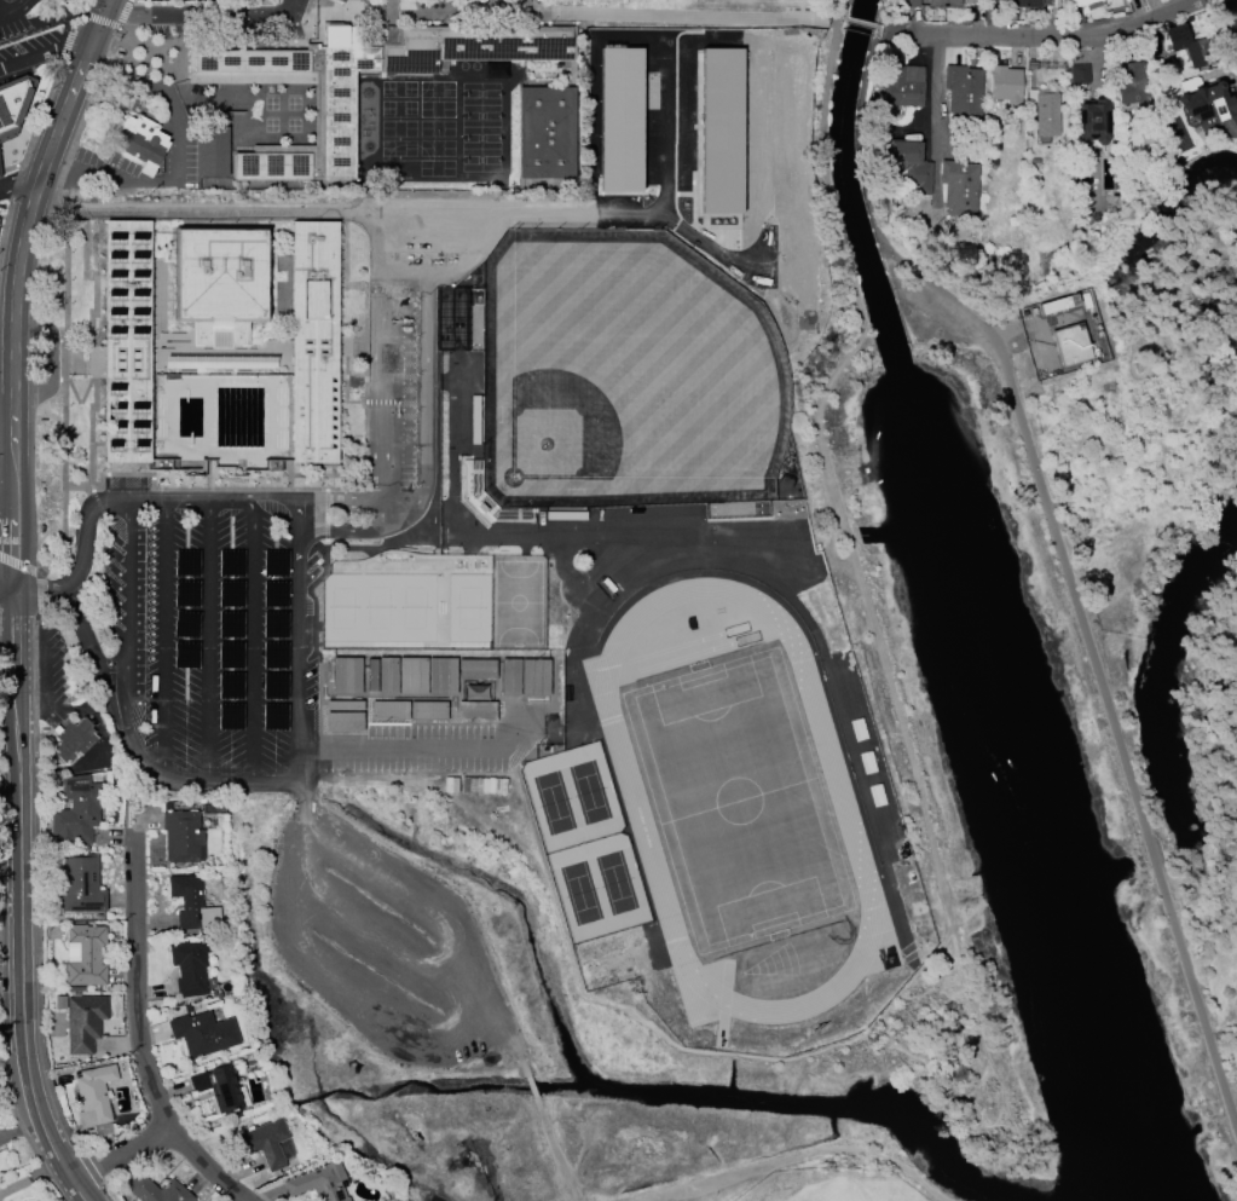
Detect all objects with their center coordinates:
building: (343, 1)
building: (912, 2)
building: (1080, 2)
building: (943, 4)
building: (1024, 4)
road: (73, 5)
road: (12, 7)
road: (103, 7)
road: (1233, 8)
road: (845, 10)
track: (686, 13)
traffic signals: (100, 15)
road: (201, 15)
parking lot: (13, 16)
road: (860, 21)
road: (883, 21)
road: (96, 27)
road: (878, 28)
traffic signals: (91, 39)
road: (1041, 39)
road: (44, 46)
building: (1186, 46)
road: (83, 54)
building: (1077, 75)
building: (1004, 83)
building: (1129, 85)
building: (902, 86)
building: (963, 90)
road: (825, 92)
road: (932, 98)
building: (13, 106)
building: (1208, 110)
building: (1044, 111)
building: (335, 117)
park: (694, 119)
building: (1092, 121)
building: (545, 133)
building: (141, 143)
building: (212, 151)
road: (177, 158)
building: (909, 167)
road: (15, 183)
building: (958, 187)
parking lot: (1, 213)
road: (221, 214)
building: (414, 231)
road: (85, 248)
road: (345, 260)
building: (219, 281)
road: (10, 325)
building: (126, 339)
building: (313, 341)
building: (1071, 345)
road: (385, 357)
park: (620, 376)
road: (435, 382)
parking lot: (391, 387)
road: (94, 389)
road: (4, 429)
road: (316, 489)
road: (340, 497)
road: (406, 497)
road: (189, 498)
road: (276, 498)
road: (381, 512)
road: (85, 527)
road: (341, 533)
road: (607, 541)
road: (1065, 560)
road: (40, 589)
road: (5, 590)
park: (516, 602)
river: (967, 604)
park: (468, 607)
park: (339, 608)
park: (375, 608)
park: (415, 608)
road: (125, 612)
road: (586, 616)
road: (300, 622)
road: (10, 630)
road: (162, 637)
road: (206, 639)
road: (253, 640)
parking lot: (239, 645)
road: (96, 657)
road: (880, 659)
road: (5, 660)
road: (45, 685)
building: (433, 688)
building: (73, 740)
road: (406, 746)
road: (302, 764)
road: (200, 779)
park: (739, 802)
track: (632, 807)
building: (76, 810)
road: (8, 830)
building: (181, 837)
building: (80, 883)
building: (191, 903)
road: (380, 937)
road: (19, 942)
building: (86, 955)
building: (189, 965)
road: (457, 1015)
building: (83, 1022)
building: (202, 1033)
road: (135, 1038)
road: (501, 1038)
road: (660, 1040)
building: (219, 1087)
road: (531, 1090)
building: (93, 1101)
building: (262, 1143)
building: (287, 1151)
road: (554, 1151)
road: (119, 1153)
road: (798, 1160)
building: (318, 1183)
building: (156, 1190)
park: (832, 1196)

